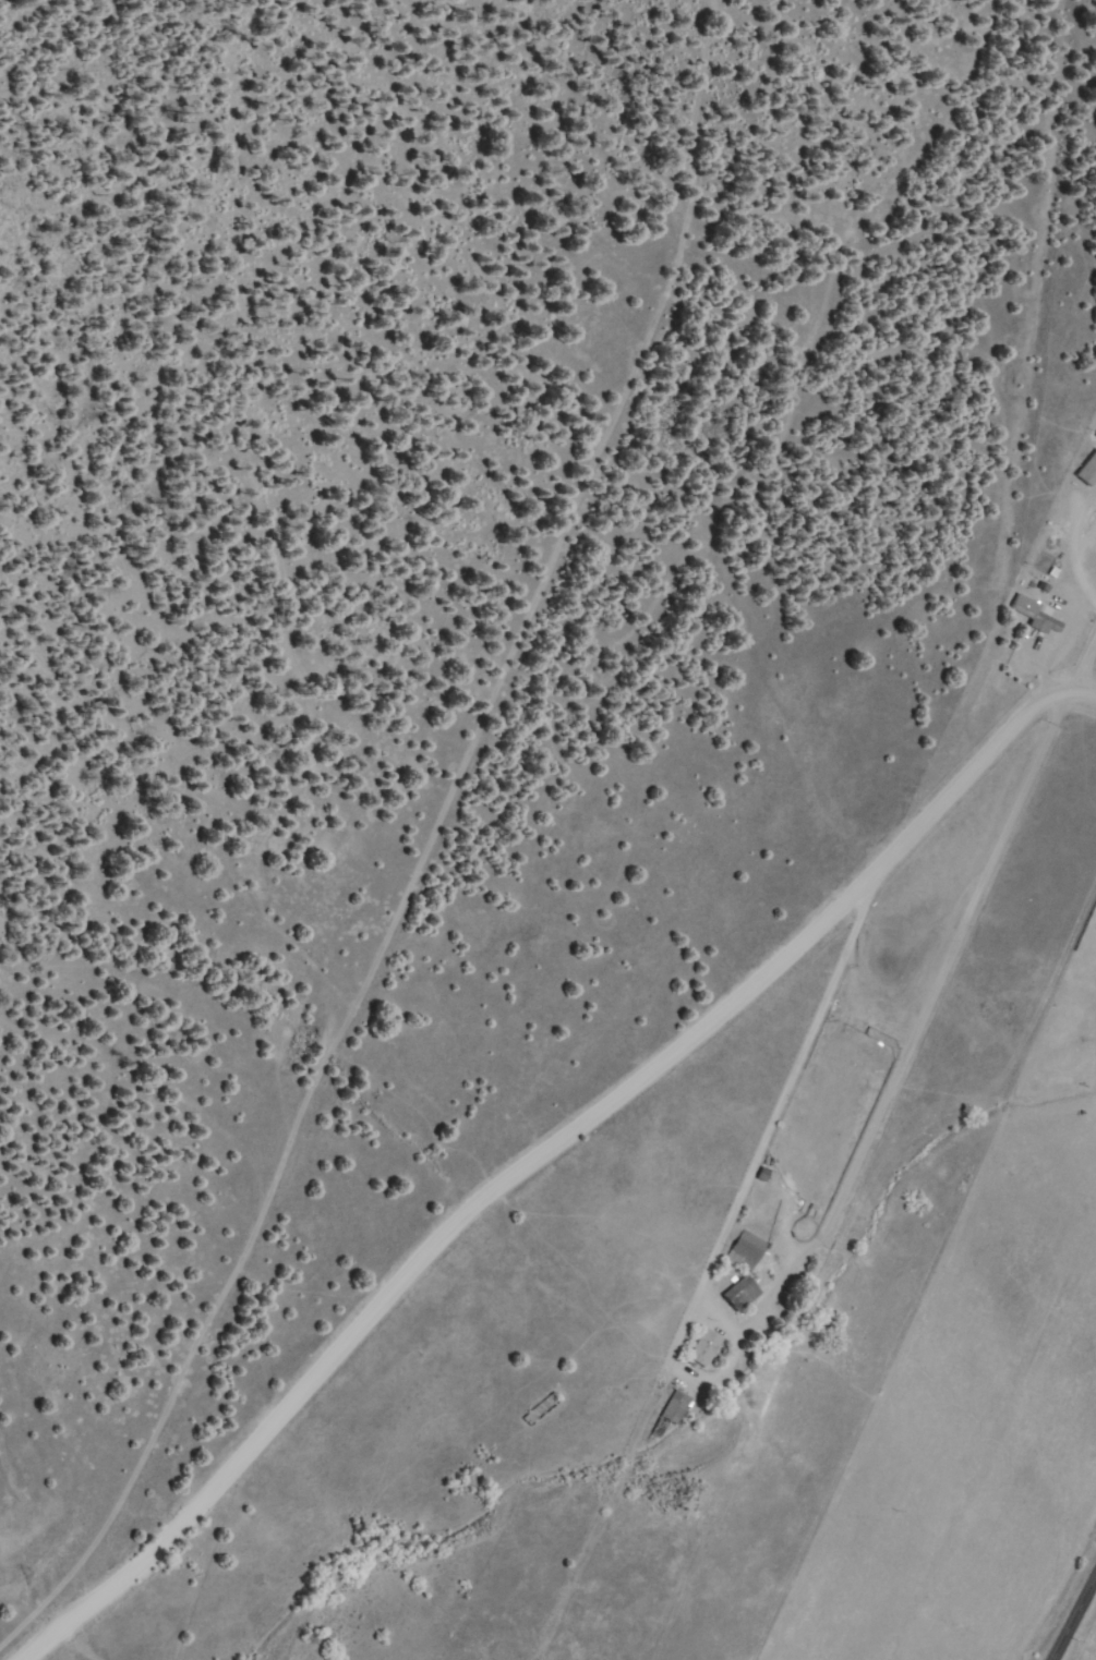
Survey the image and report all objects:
road: (1011, 290)
building: (1085, 467)
building: (1031, 616)
road: (504, 1140)
building: (758, 1176)
building: (743, 1251)
building: (736, 1296)
building: (700, 1349)
building: (670, 1408)
road: (1072, 1614)

